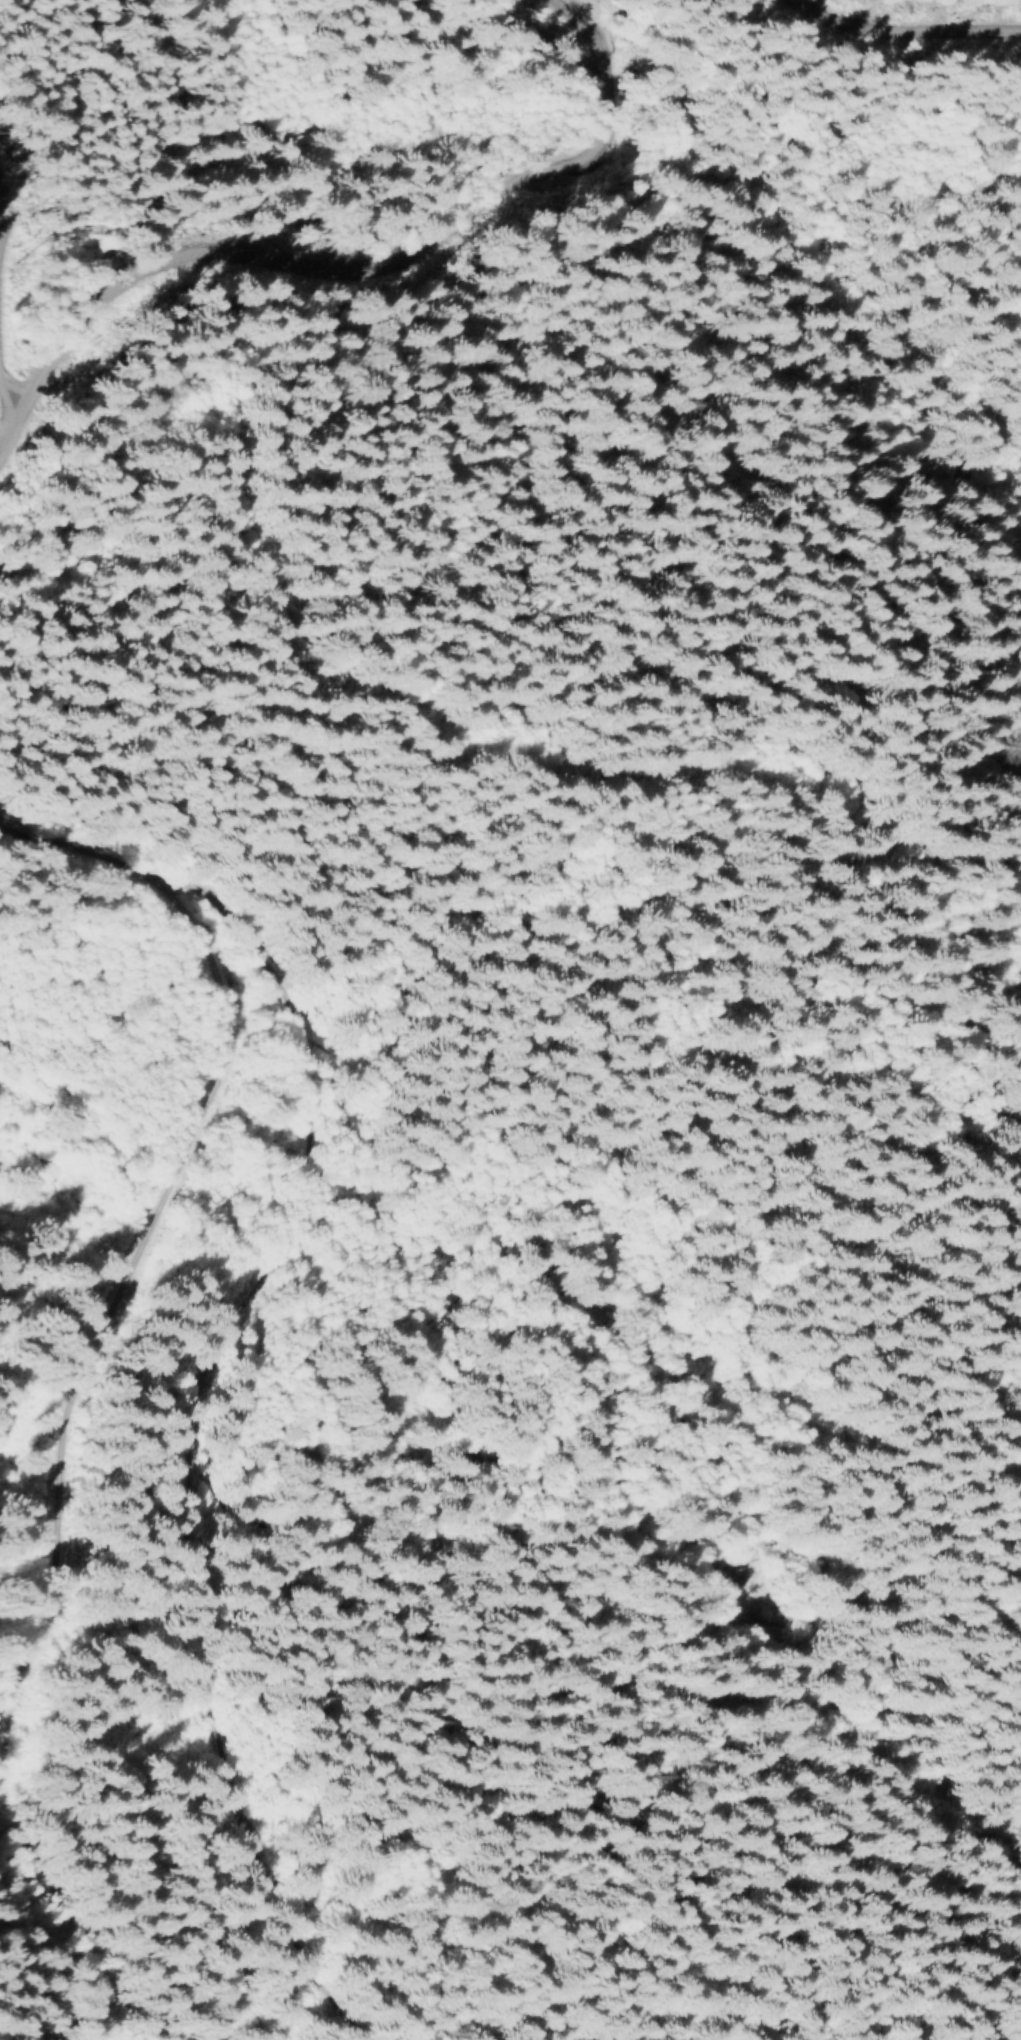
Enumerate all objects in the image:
road: (831, 101)
road: (333, 244)
road: (4, 431)
road: (4, 445)
road: (142, 1256)

